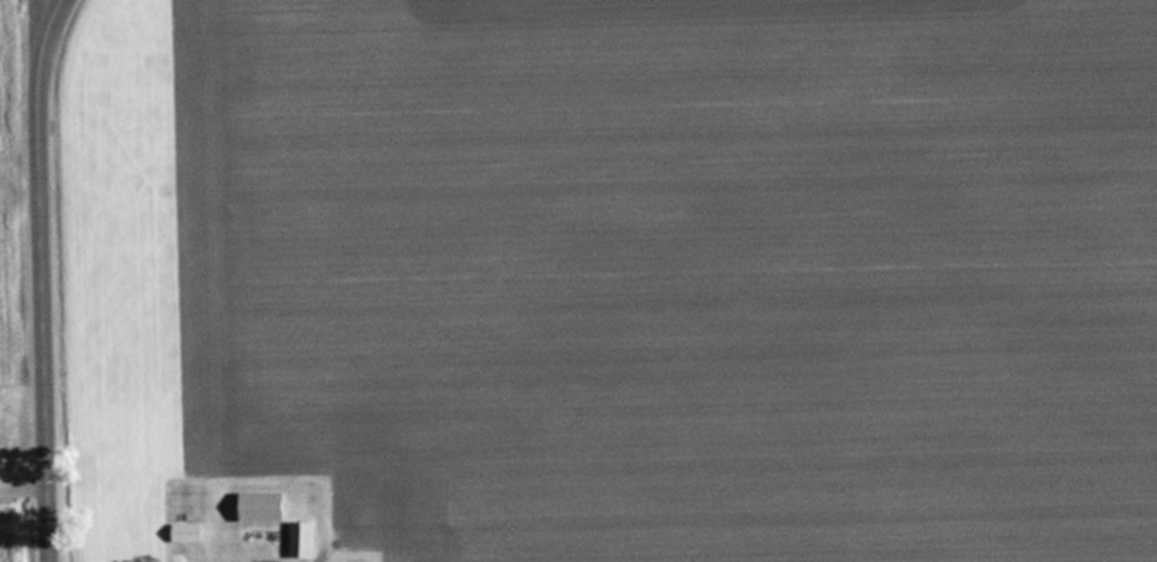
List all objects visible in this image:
road: (65, 29)
road: (50, 280)
building: (265, 506)
building: (188, 532)
building: (304, 538)

